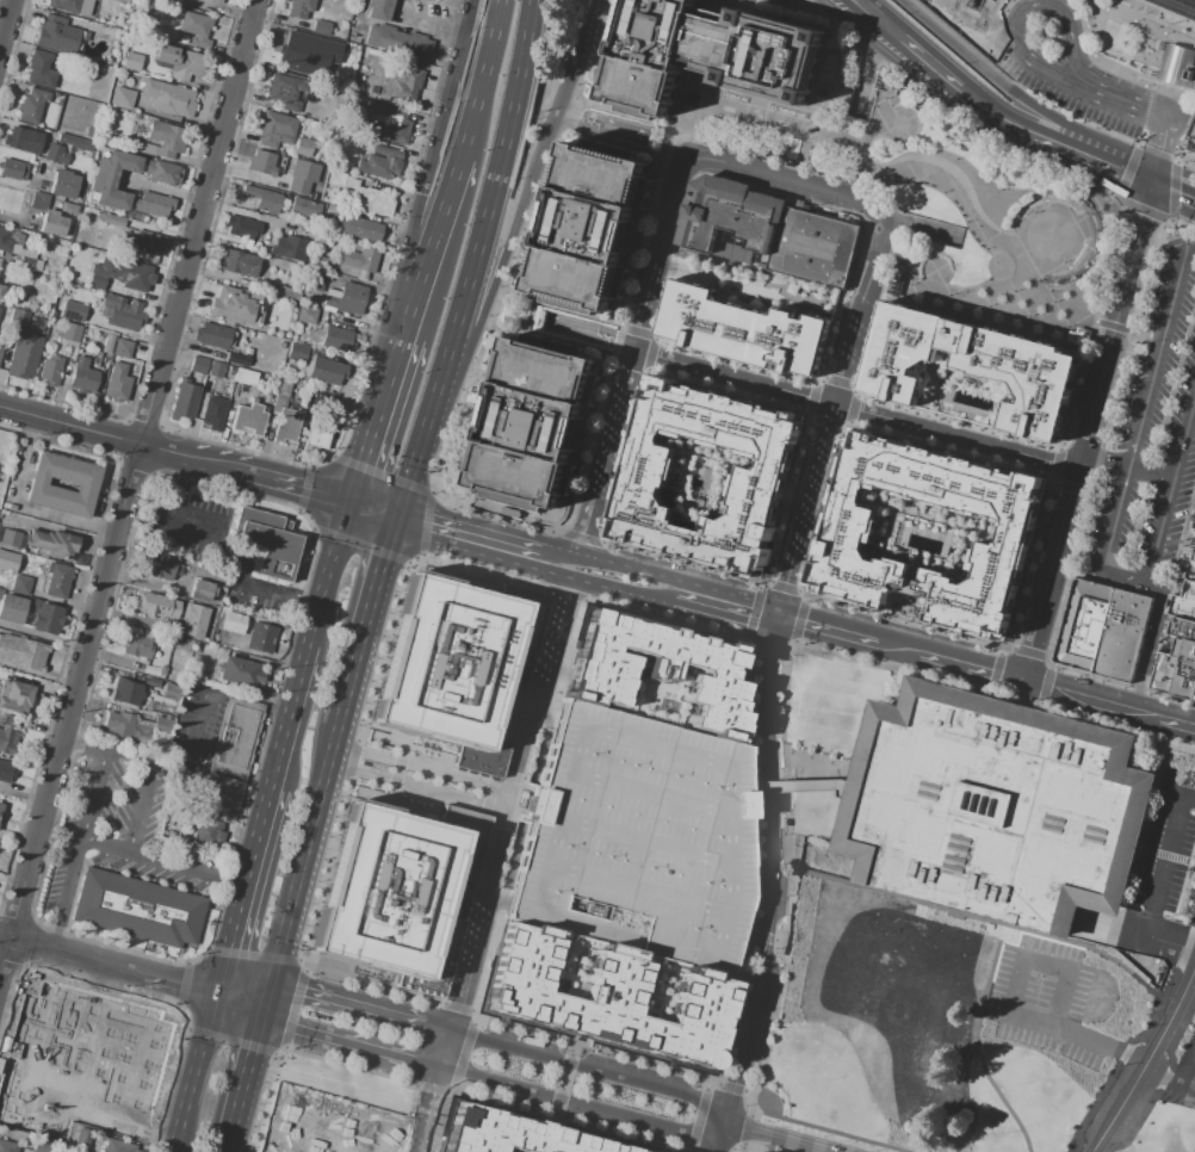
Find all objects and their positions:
building: (421, 0)
building: (216, 1)
building: (776, 1)
railway: (1191, 1)
power substation: (973, 5)
building: (72, 6)
road: (1007, 7)
building: (299, 8)
building: (378, 10)
railway: (1171, 10)
railway: (1168, 11)
road: (869, 13)
road: (1153, 16)
railway: (1152, 17)
building: (126, 20)
road: (6, 26)
building: (321, 27)
building: (196, 29)
road: (1193, 31)
building: (57, 33)
building: (106, 33)
building: (81, 39)
road: (1188, 39)
building: (398, 42)
road: (956, 43)
road: (1079, 49)
building: (291, 50)
building: (334, 52)
building: (705, 56)
building: (179, 62)
building: (348, 62)
road: (924, 62)
building: (134, 63)
building: (1177, 64)
road: (1183, 66)
building: (829, 67)
building: (41, 69)
building: (98, 69)
road: (867, 70)
road: (1113, 70)
building: (1193, 74)
parking lot: (1193, 74)
road: (479, 78)
building: (881, 82)
building: (408, 86)
road: (1085, 88)
building: (281, 91)
road: (1177, 91)
building: (899, 93)
building: (168, 98)
building: (123, 99)
parking lot: (1067, 99)
fountain: (696, 101)
building: (32, 104)
road: (1146, 109)
road: (903, 112)
road: (750, 114)
road: (1040, 114)
road: (883, 118)
building: (384, 120)
road: (996, 120)
road: (1187, 120)
road: (602, 124)
building: (275, 129)
building: (88, 132)
road: (1053, 137)
road: (1140, 137)
building: (1193, 137)
parking lot: (1193, 137)
building: (23, 140)
building: (162, 141)
building: (74, 142)
road: (1163, 145)
building: (302, 147)
road: (1178, 148)
building: (776, 151)
building: (55, 155)
building: (286, 160)
building: (383, 162)
road: (1113, 163)
building: (296, 165)
road: (435, 165)
building: (262, 167)
building: (307, 167)
building: (355, 167)
building: (11, 169)
building: (315, 169)
road: (909, 172)
road: (1126, 172)
building: (162, 173)
road: (778, 176)
building: (113, 179)
building: (335, 179)
building: (283, 182)
building: (62, 184)
road: (863, 184)
traffic signals: (1152, 184)
building: (293, 185)
road: (163, 191)
road: (1174, 192)
building: (287, 196)
building: (262, 198)
building: (38, 202)
building: (372, 202)
building: (151, 205)
road: (1040, 208)
building: (68, 209)
building: (303, 209)
building: (332, 210)
building: (110, 219)
road: (1100, 219)
road: (1170, 221)
building: (52, 224)
building: (241, 227)
building: (586, 227)
road: (1140, 227)
road: (923, 228)
building: (363, 230)
building: (768, 230)
road: (507, 234)
building: (4, 241)
building: (327, 242)
building: (145, 243)
road: (431, 243)
building: (289, 247)
road: (1020, 253)
building: (358, 259)
building: (321, 262)
building: (25, 264)
building: (240, 265)
road: (468, 266)
building: (120, 275)
building: (317, 281)
road: (908, 286)
road: (1125, 286)
building: (1, 287)
building: (55, 289)
building: (278, 290)
road: (1027, 295)
road: (869, 298)
building: (21, 299)
building: (346, 299)
road: (1010, 301)
road: (1030, 305)
building: (37, 308)
road: (1002, 309)
building: (73, 311)
building: (223, 311)
road: (1050, 311)
building: (305, 315)
building: (125, 317)
building: (24, 320)
building: (753, 320)
building: (289, 321)
building: (258, 323)
road: (1104, 323)
road: (1125, 328)
building: (69, 332)
building: (286, 333)
road: (590, 333)
building: (252, 334)
building: (39, 335)
building: (213, 335)
building: (605, 335)
road: (1151, 336)
building: (339, 339)
building: (107, 342)
building: (281, 343)
road: (865, 343)
building: (0, 347)
building: (122, 348)
building: (296, 353)
road: (634, 357)
building: (20, 359)
building: (237, 359)
road: (1162, 360)
building: (198, 365)
building: (49, 368)
building: (216, 370)
building: (968, 371)
building: (326, 372)
building: (81, 374)
building: (225, 376)
building: (244, 377)
road: (737, 377)
road: (1100, 380)
building: (117, 383)
building: (283, 388)
building: (185, 401)
building: (212, 413)
road: (377, 417)
building: (248, 419)
building: (286, 425)
building: (531, 425)
parking lot: (1152, 427)
building: (316, 434)
road: (958, 435)
road: (118, 439)
road: (821, 456)
road: (1107, 463)
road: (136, 470)
road: (1153, 475)
building: (646, 477)
road: (295, 487)
building: (43, 488)
traffic signals: (352, 504)
road: (793, 507)
road: (378, 508)
traffic signals: (404, 512)
road: (816, 513)
road: (1165, 515)
road: (376, 518)
road: (1120, 521)
road: (473, 529)
traffic signals: (400, 532)
building: (844, 535)
building: (10, 538)
building: (271, 543)
road: (1177, 543)
building: (54, 545)
road: (1194, 547)
road: (217, 549)
road: (485, 553)
building: (1193, 555)
road: (603, 565)
road: (791, 565)
building: (161, 568)
road: (1050, 571)
building: (1190, 571)
building: (57, 581)
building: (20, 584)
road: (675, 589)
building: (202, 592)
road: (327, 592)
road: (627, 593)
building: (1183, 602)
building: (12, 608)
road: (376, 608)
road: (731, 609)
building: (160, 612)
building: (199, 614)
building: (47, 619)
traffic signals: (778, 621)
building: (1182, 628)
building: (1103, 630)
building: (191, 633)
road: (828, 634)
building: (260, 636)
road: (1156, 642)
building: (140, 648)
building: (21, 654)
road: (899, 654)
building: (1184, 657)
building: (459, 667)
building: (163, 670)
building: (656, 670)
road: (971, 671)
building: (241, 673)
building: (1164, 673)
building: (1183, 687)
building: (128, 690)
road: (520, 692)
building: (16, 696)
building: (169, 696)
building: (1194, 698)
road: (348, 706)
road: (1107, 707)
building: (118, 724)
road: (199, 726)
road: (287, 733)
building: (236, 736)
building: (7, 741)
road: (83, 749)
road: (422, 769)
building: (6, 770)
road: (417, 787)
road: (797, 787)
building: (219, 799)
road: (506, 804)
building: (992, 806)
building: (1, 810)
road: (137, 817)
building: (206, 835)
building: (639, 841)
parking lot: (639, 841)
road: (78, 853)
road: (141, 857)
road: (305, 866)
road: (772, 875)
road: (760, 877)
road: (244, 887)
building: (400, 894)
building: (138, 910)
road: (5, 937)
road: (75, 955)
road: (748, 959)
road: (5, 960)
road: (179, 979)
traffic signals: (217, 989)
road: (242, 996)
building: (606, 999)
traffic signals: (267, 1004)
road: (345, 1004)
road: (37, 1026)
road: (86, 1036)
road: (351, 1043)
building: (144, 1052)
road: (1146, 1060)
road: (578, 1066)
road: (249, 1067)
road: (196, 1070)
road: (1187, 1071)
parking lot: (1182, 1077)
road: (440, 1078)
road: (1159, 1079)
road: (1187, 1088)
road: (582, 1108)
road: (88, 1117)
building: (512, 1134)
road: (770, 1139)
road: (719, 1140)
road: (229, 1141)
building: (8, 1146)
building: (118, 1146)

